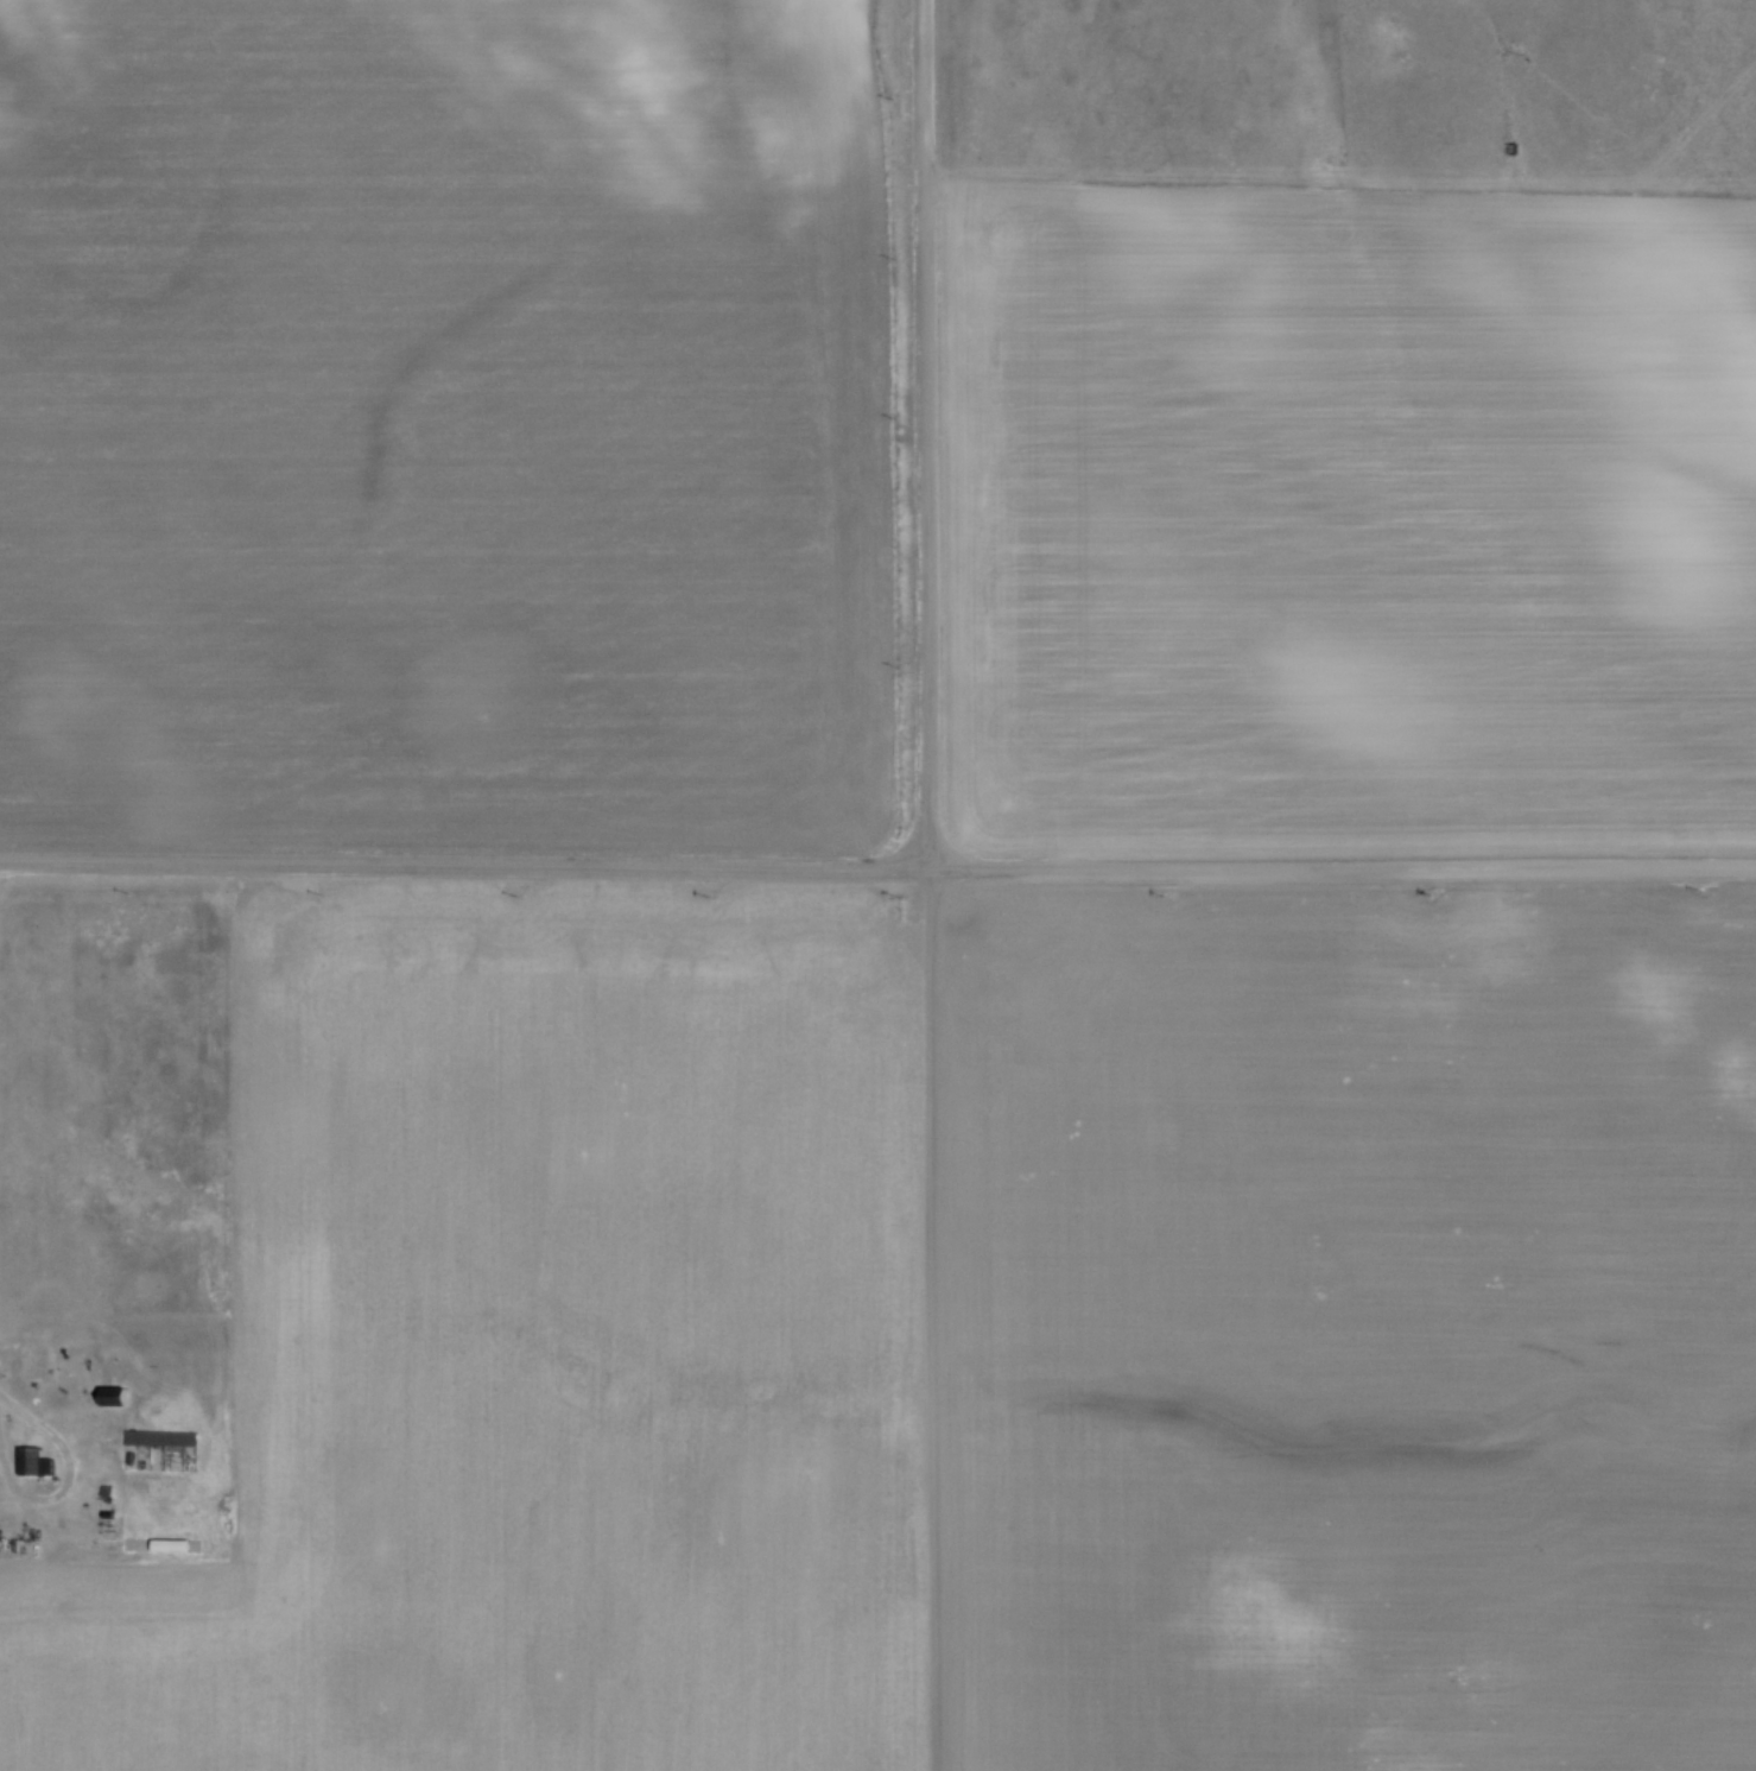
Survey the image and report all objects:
crop: (445, 419)
road: (930, 435)
crop: (1349, 514)
road: (877, 869)
crop: (962, 1339)
building: (115, 1394)
building: (164, 1435)
building: (37, 1460)
road: (66, 1482)

